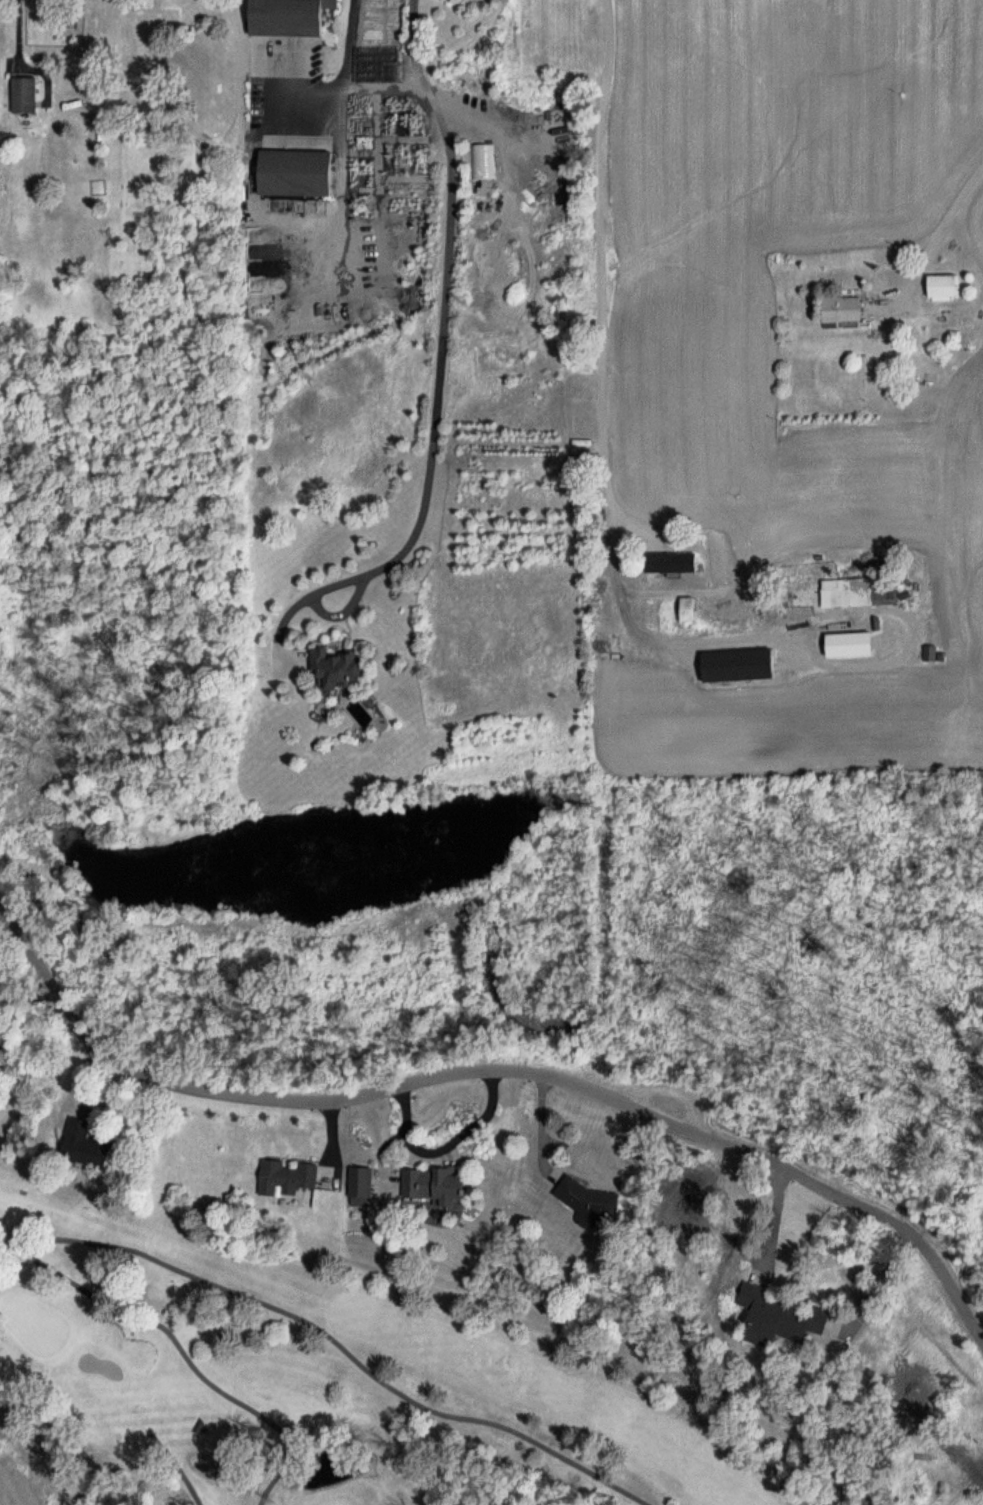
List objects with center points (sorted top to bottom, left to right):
building: (291, 17)
building: (590, 19)
road: (415, 46)
road: (346, 84)
building: (26, 96)
building: (297, 174)
building: (944, 288)
building: (843, 313)
road: (436, 417)
building: (671, 564)
building: (855, 593)
building: (689, 607)
building: (864, 639)
building: (738, 666)
building: (338, 670)
road: (205, 1087)
building: (83, 1135)
road: (764, 1160)
building: (280, 1171)
building: (354, 1174)
building: (430, 1177)
building: (582, 1194)
building: (773, 1310)
park: (332, 1378)

